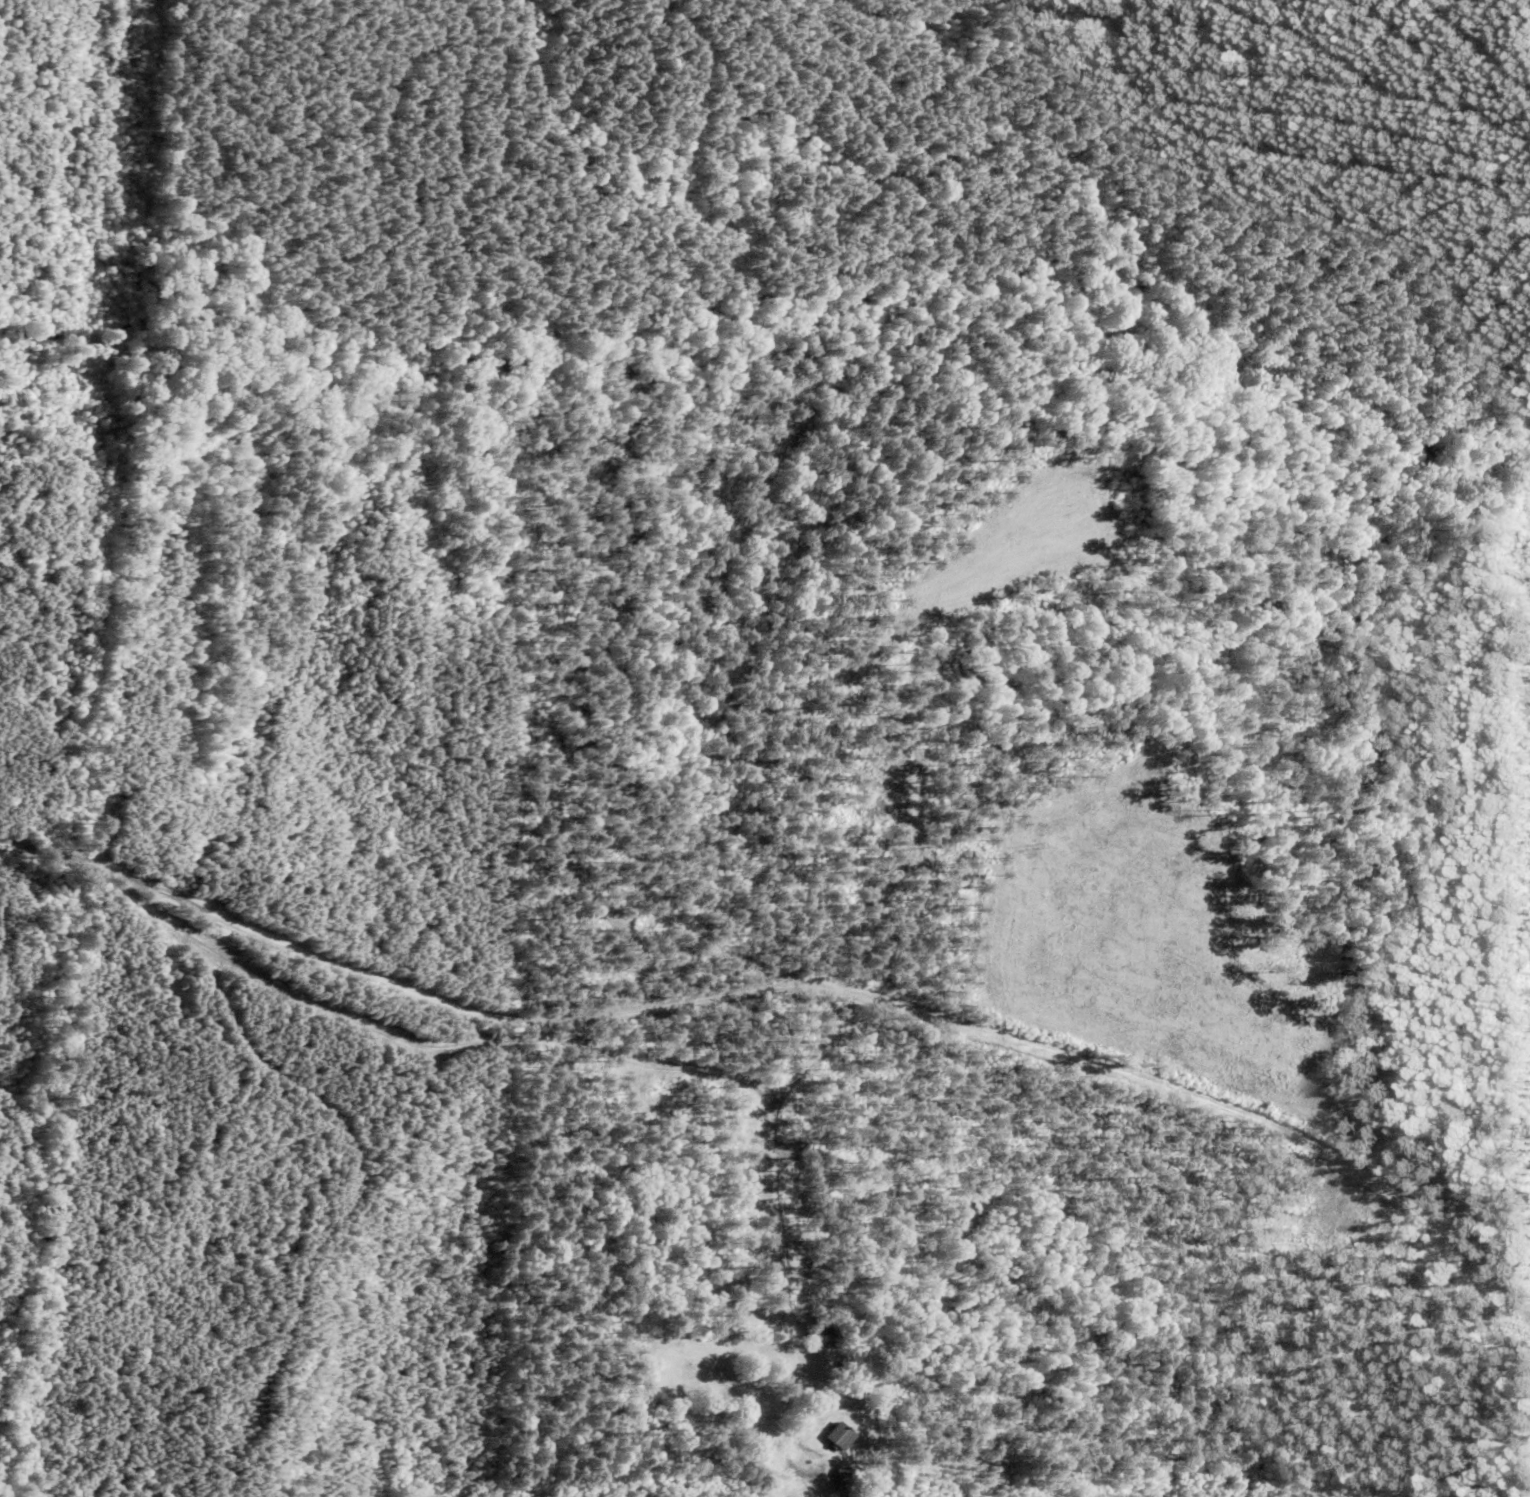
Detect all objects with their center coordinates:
road: (69, 855)
road: (851, 974)
building: (821, 1339)
building: (841, 1438)
building: (841, 1480)

